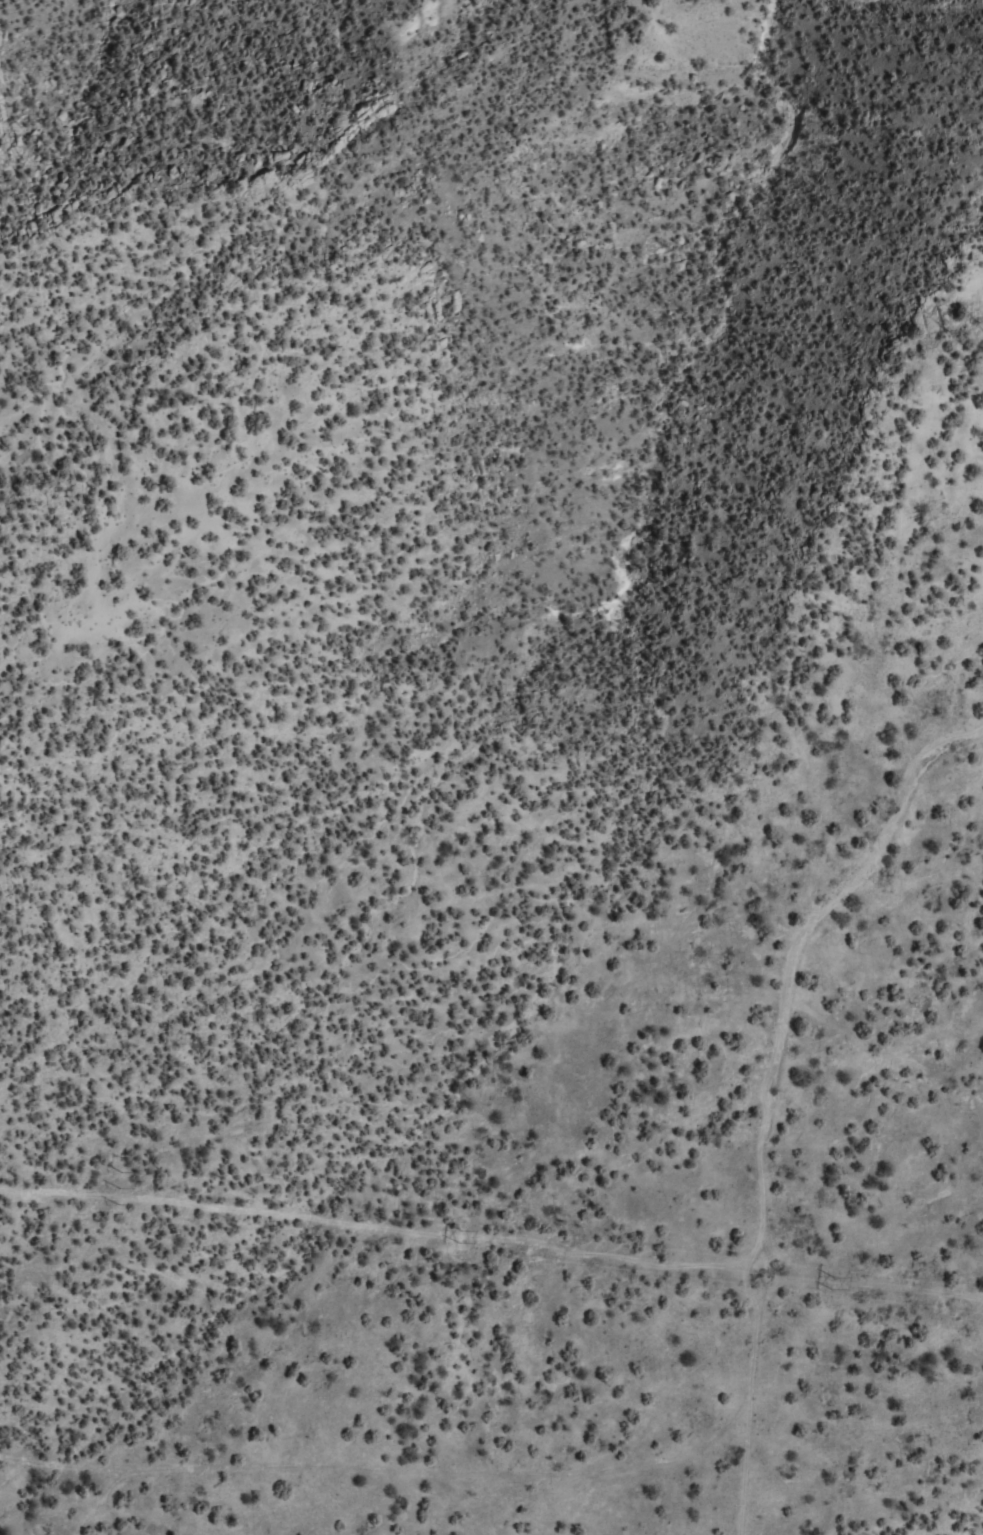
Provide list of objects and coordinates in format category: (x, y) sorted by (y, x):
road: (836, 1131)
power tower: (120, 1188)
power tower: (458, 1237)
power tower: (833, 1280)
road: (760, 1517)
road: (769, 1517)
road: (379, 1522)

